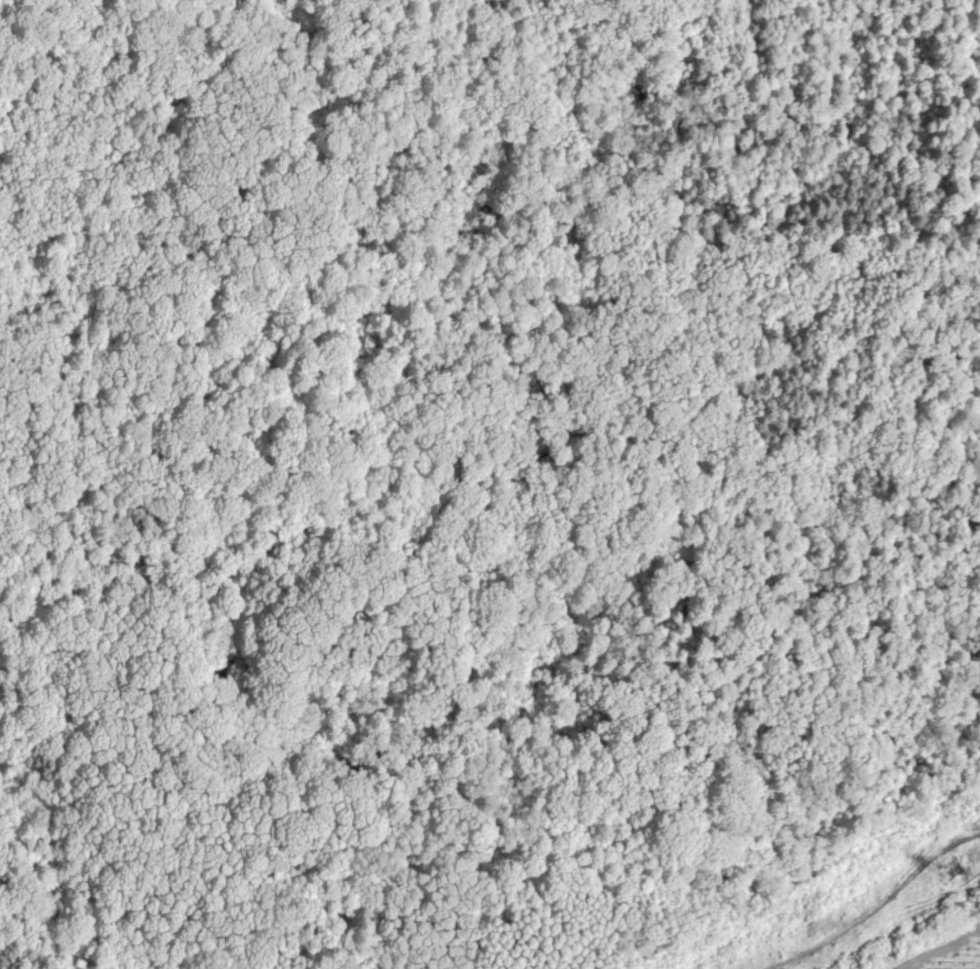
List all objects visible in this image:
power tower: (950, 867)

